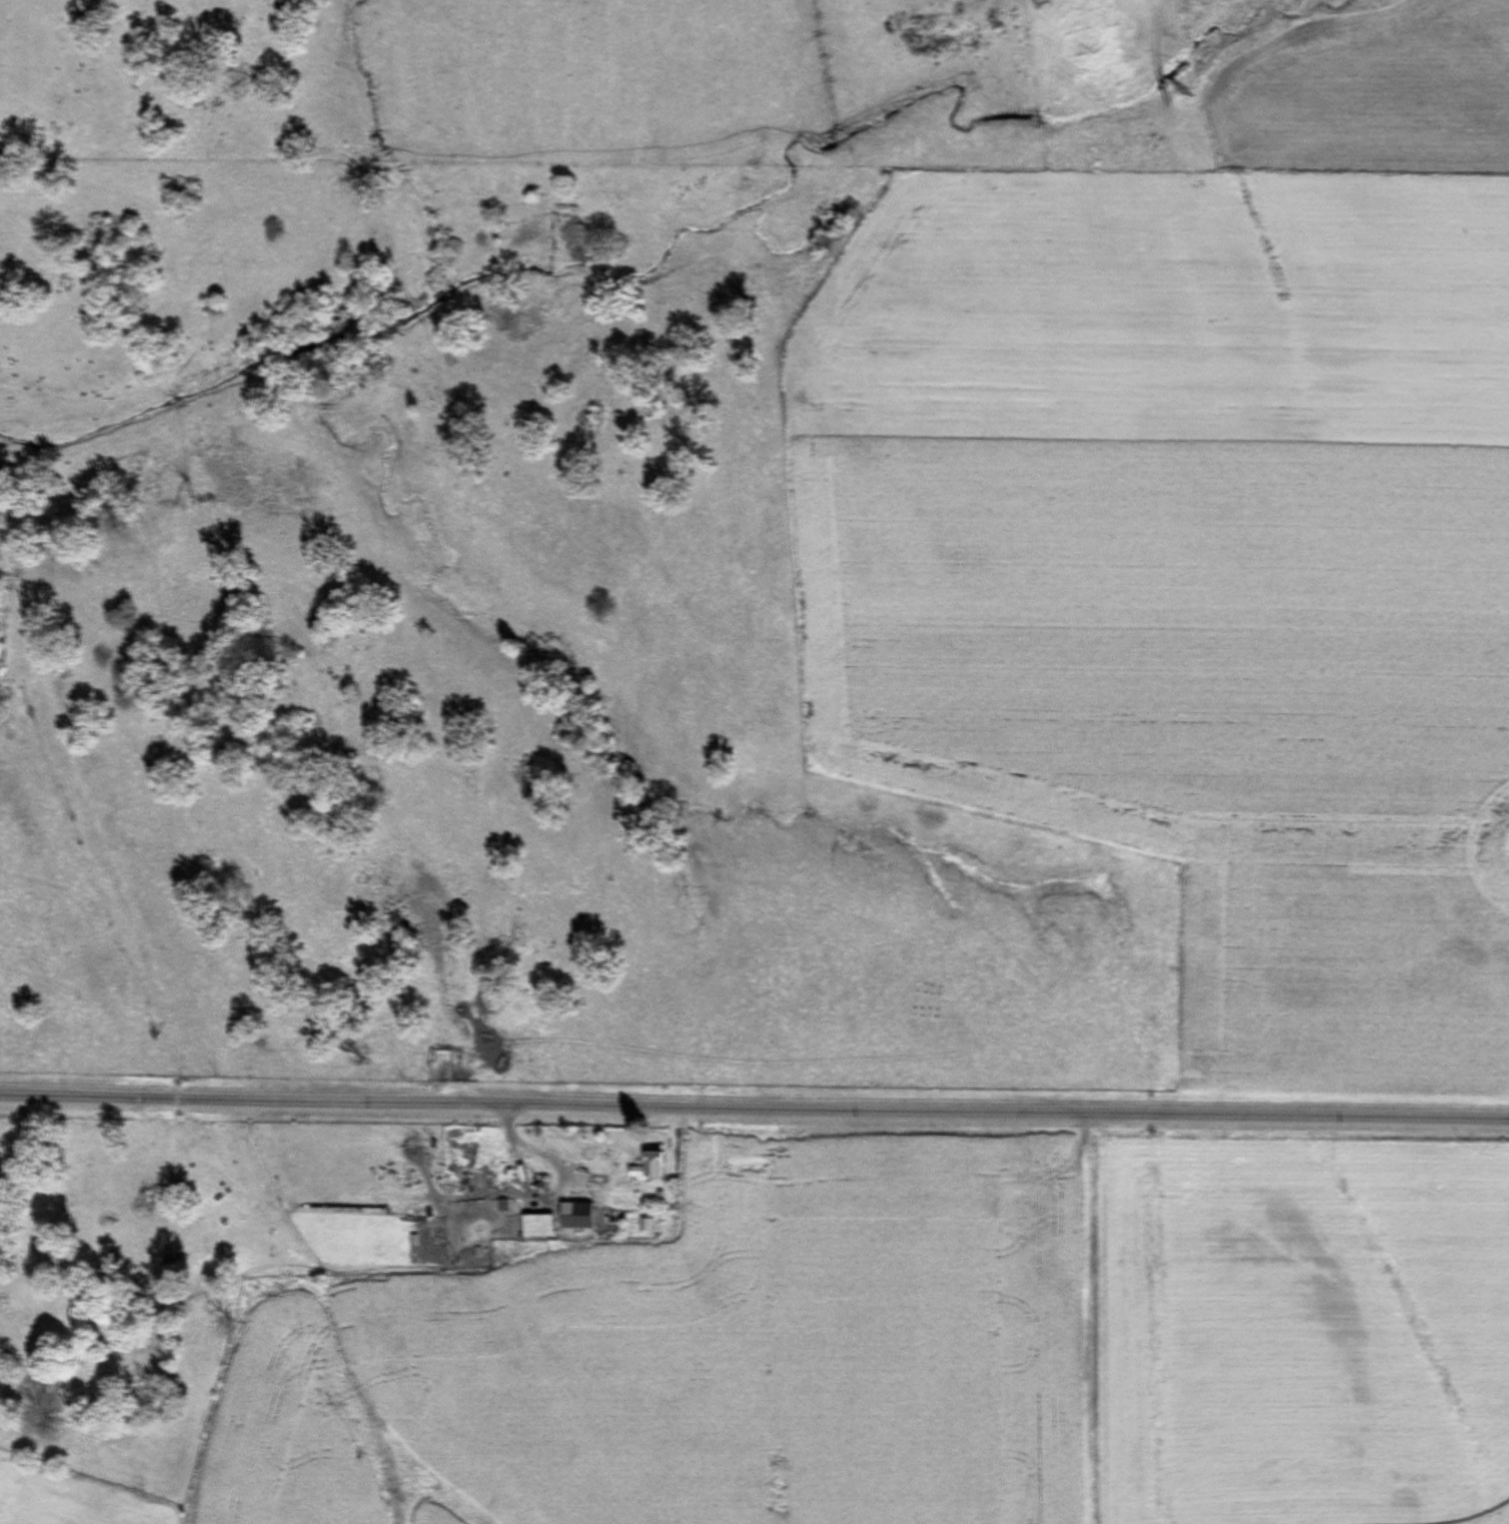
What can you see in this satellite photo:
road: (754, 1106)
building: (650, 1165)
building: (574, 1217)
building: (535, 1227)

